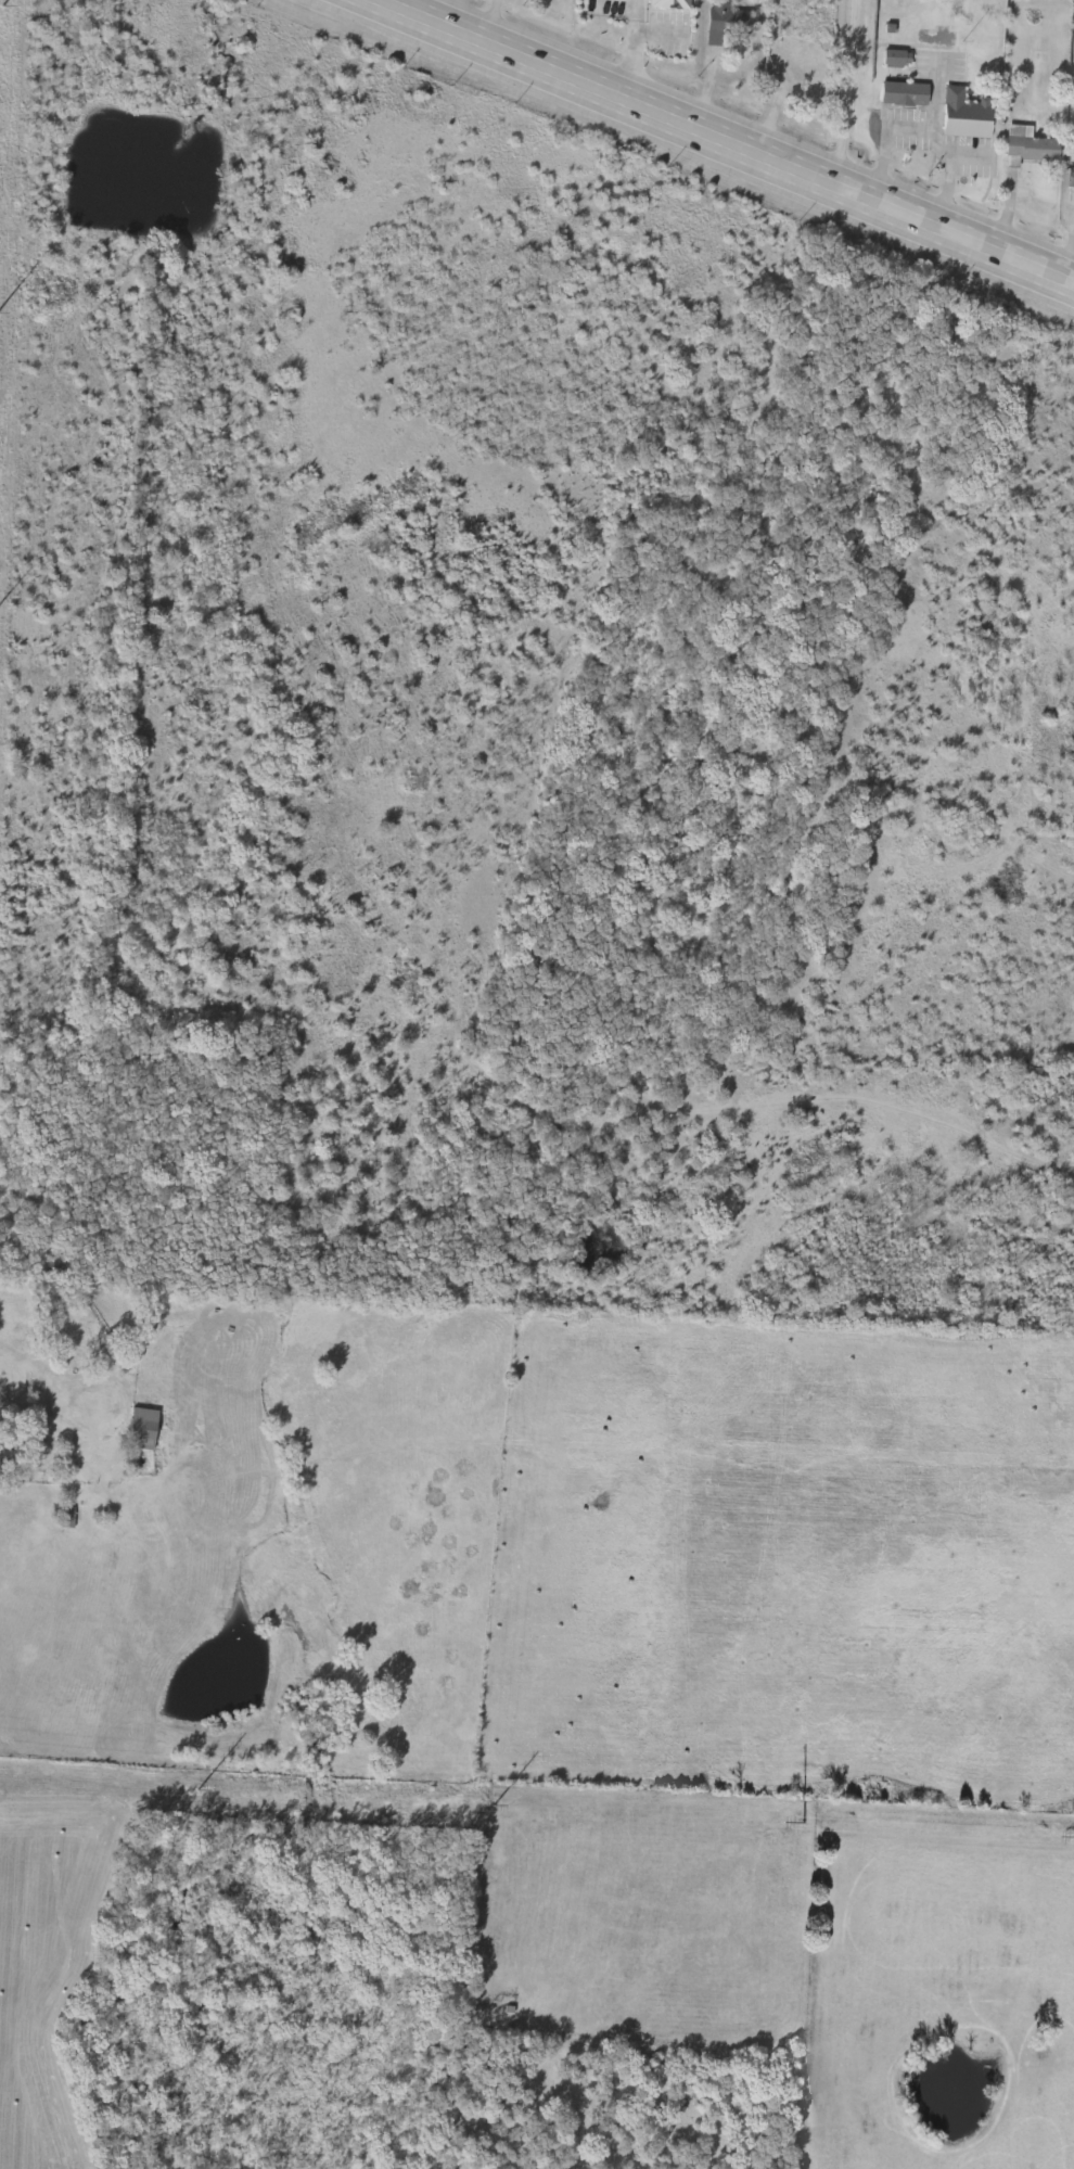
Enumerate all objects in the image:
building: (670, 5)
road: (489, 23)
building: (730, 26)
road: (636, 51)
building: (801, 56)
building: (897, 62)
road: (839, 93)
building: (905, 97)
building: (967, 117)
road: (908, 128)
road: (721, 144)
building: (1030, 149)
road: (971, 158)
road: (949, 179)
building: (1072, 181)
road: (1069, 210)
road: (1070, 247)
building: (144, 1430)

